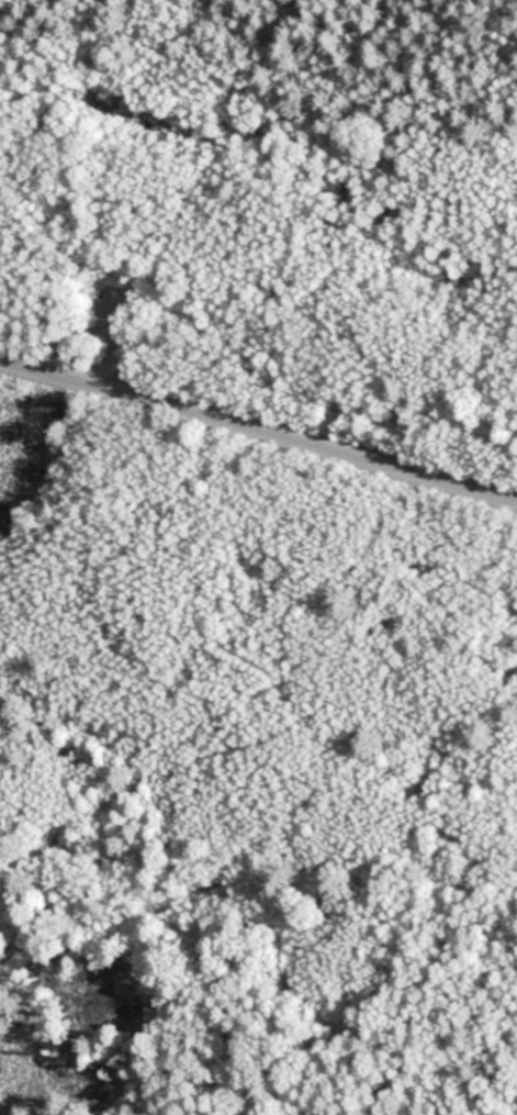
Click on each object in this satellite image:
road: (258, 435)
park: (258, 557)

